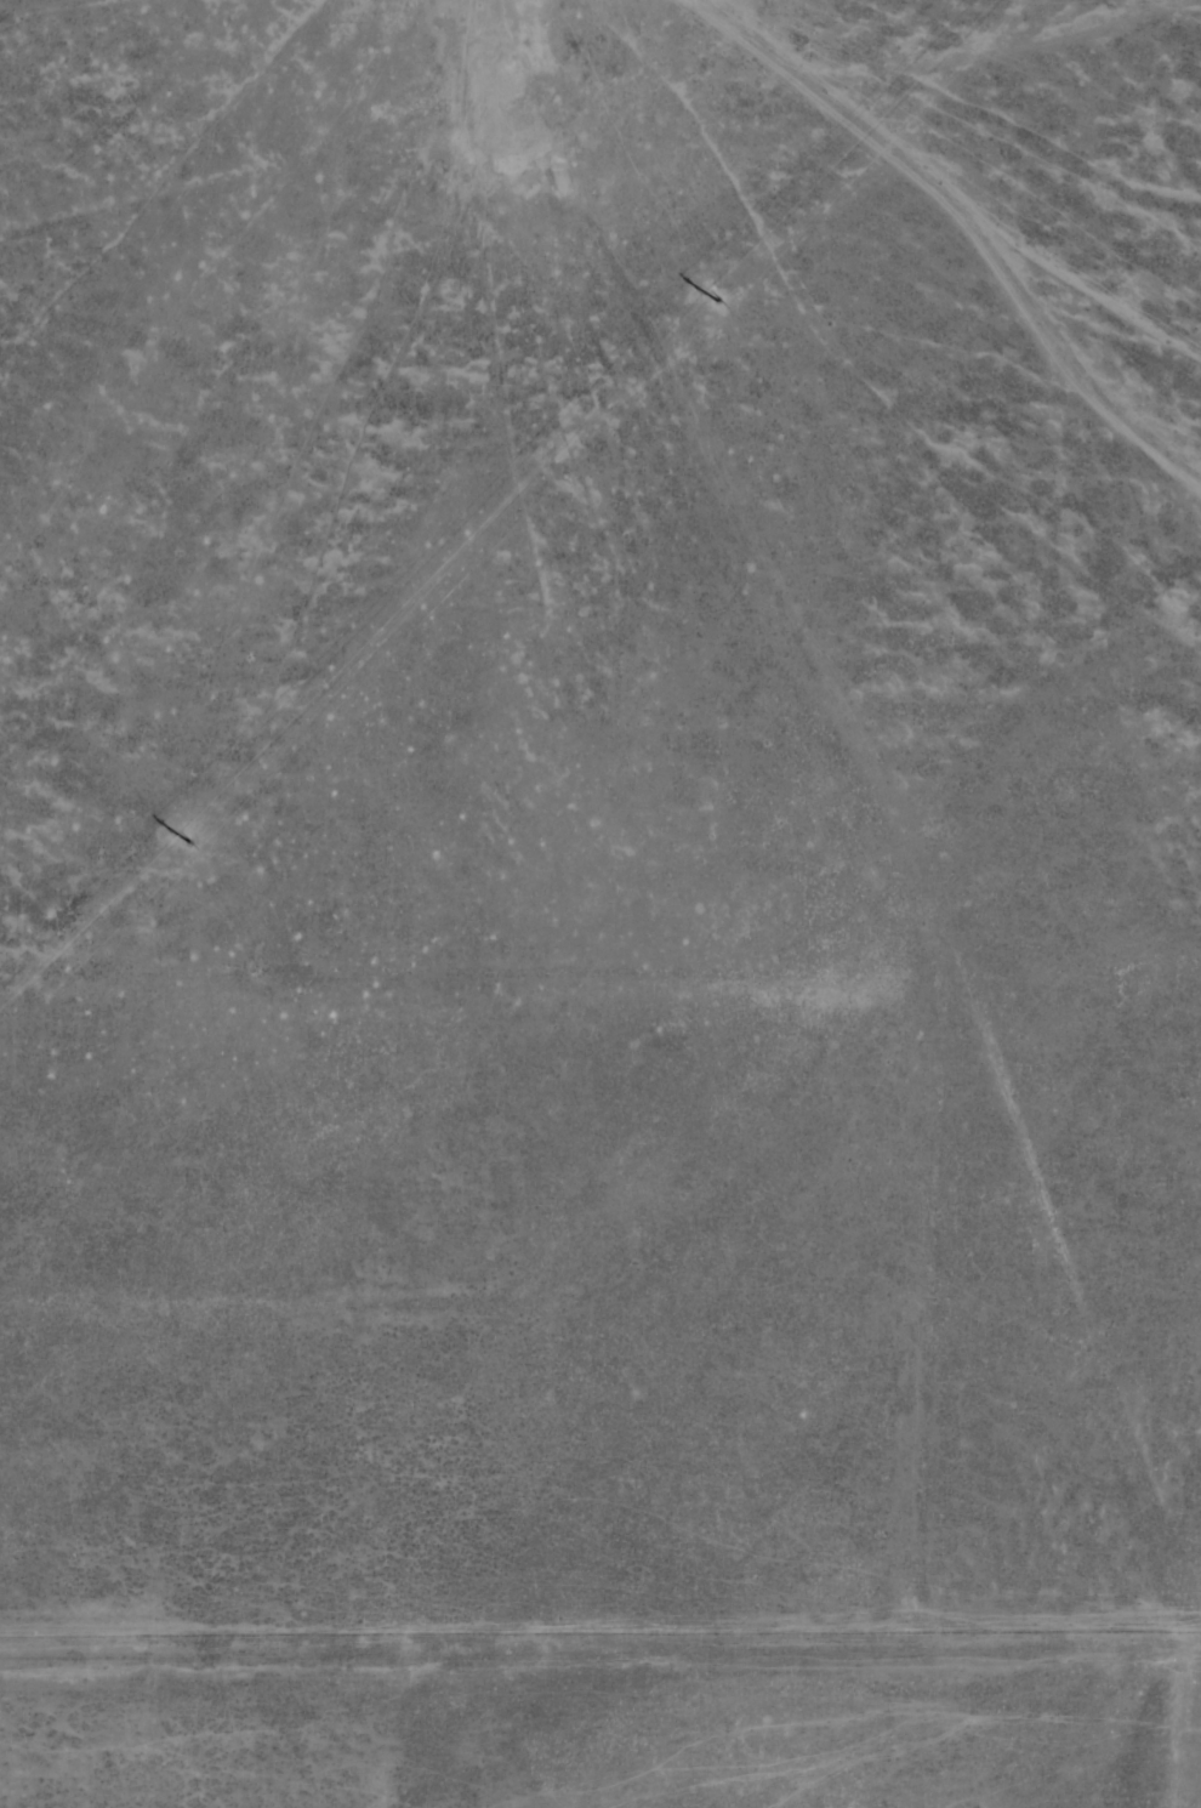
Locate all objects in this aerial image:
road: (884, 50)
power tower: (721, 301)
road: (888, 612)
power tower: (187, 841)

